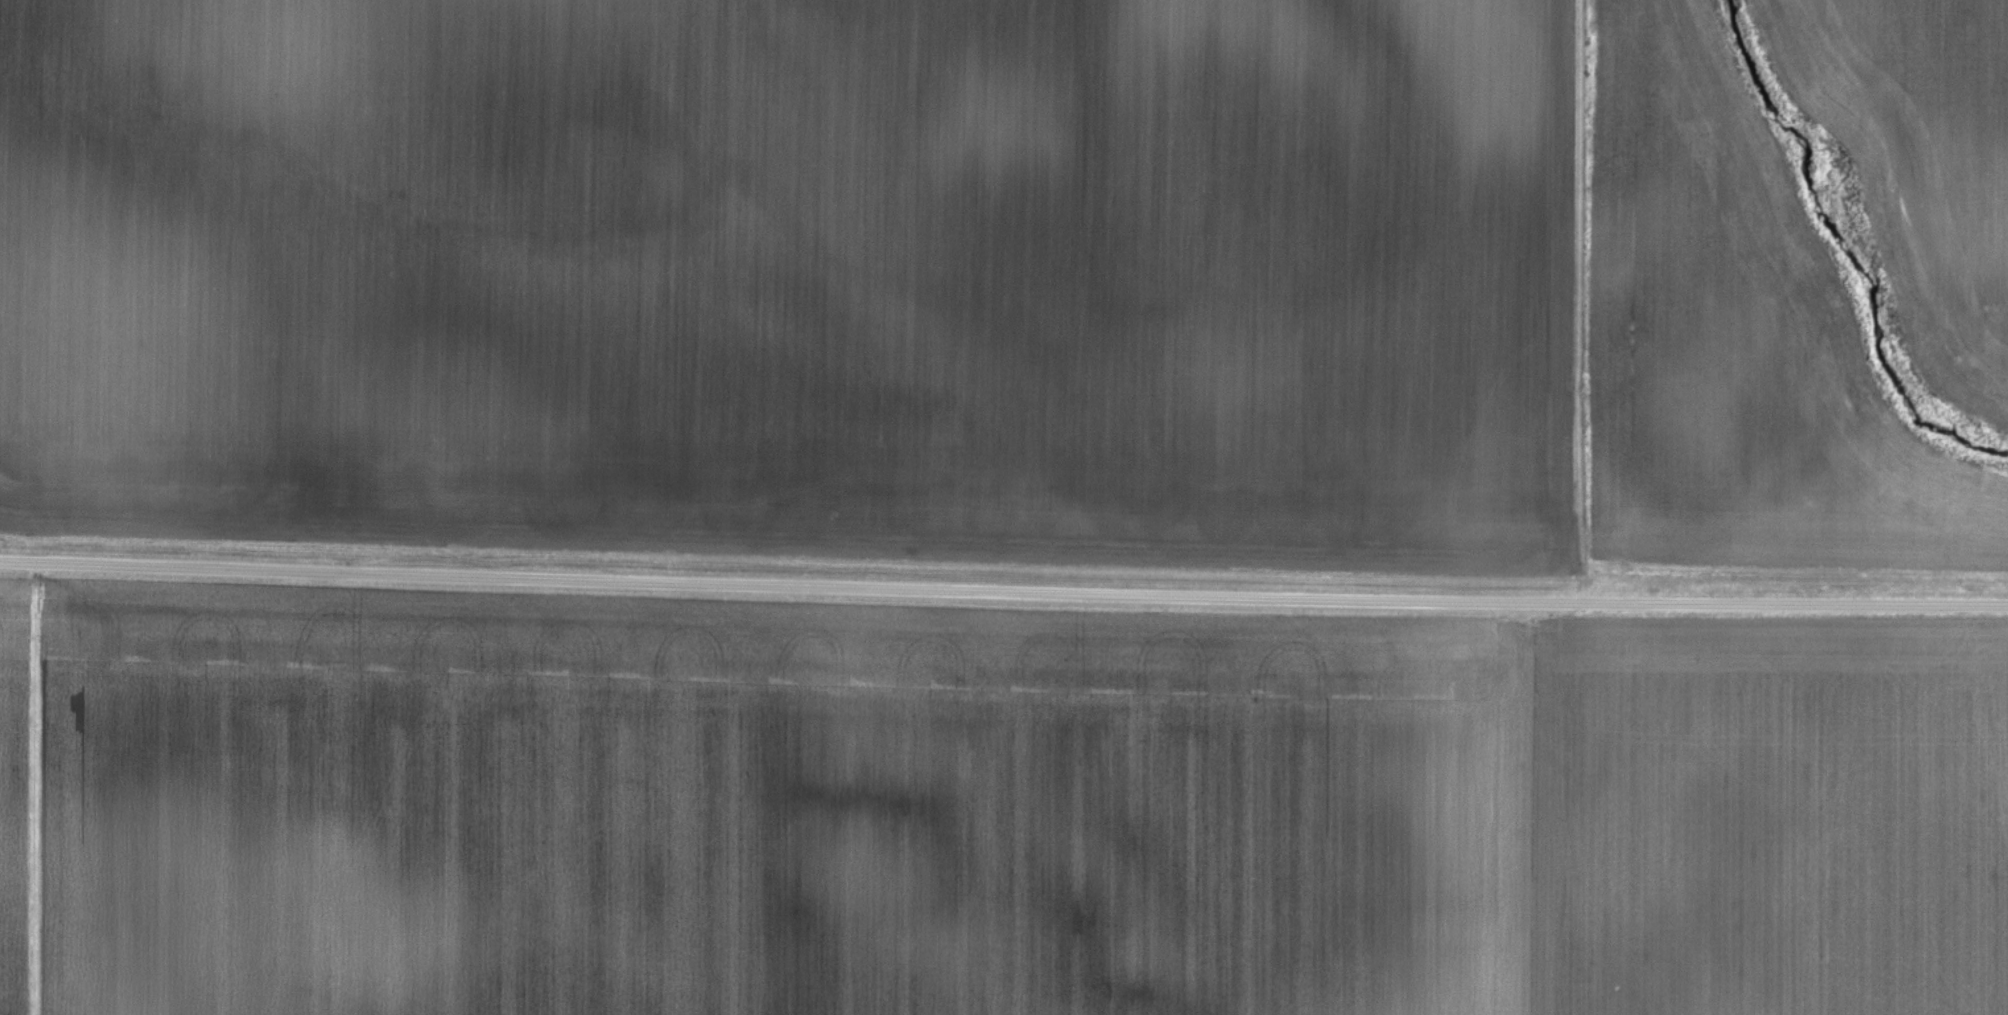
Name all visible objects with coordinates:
road: (1003, 590)

